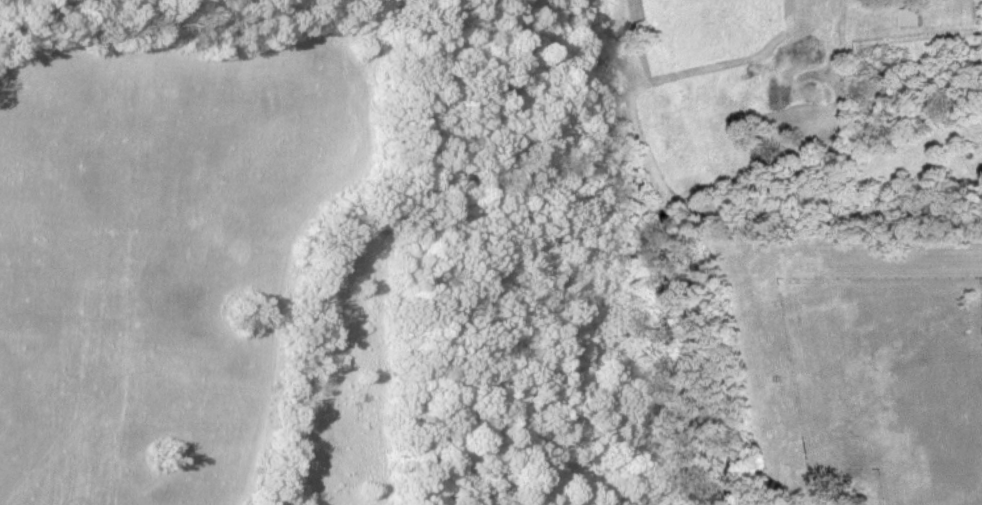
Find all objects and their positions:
building: (911, 20)

